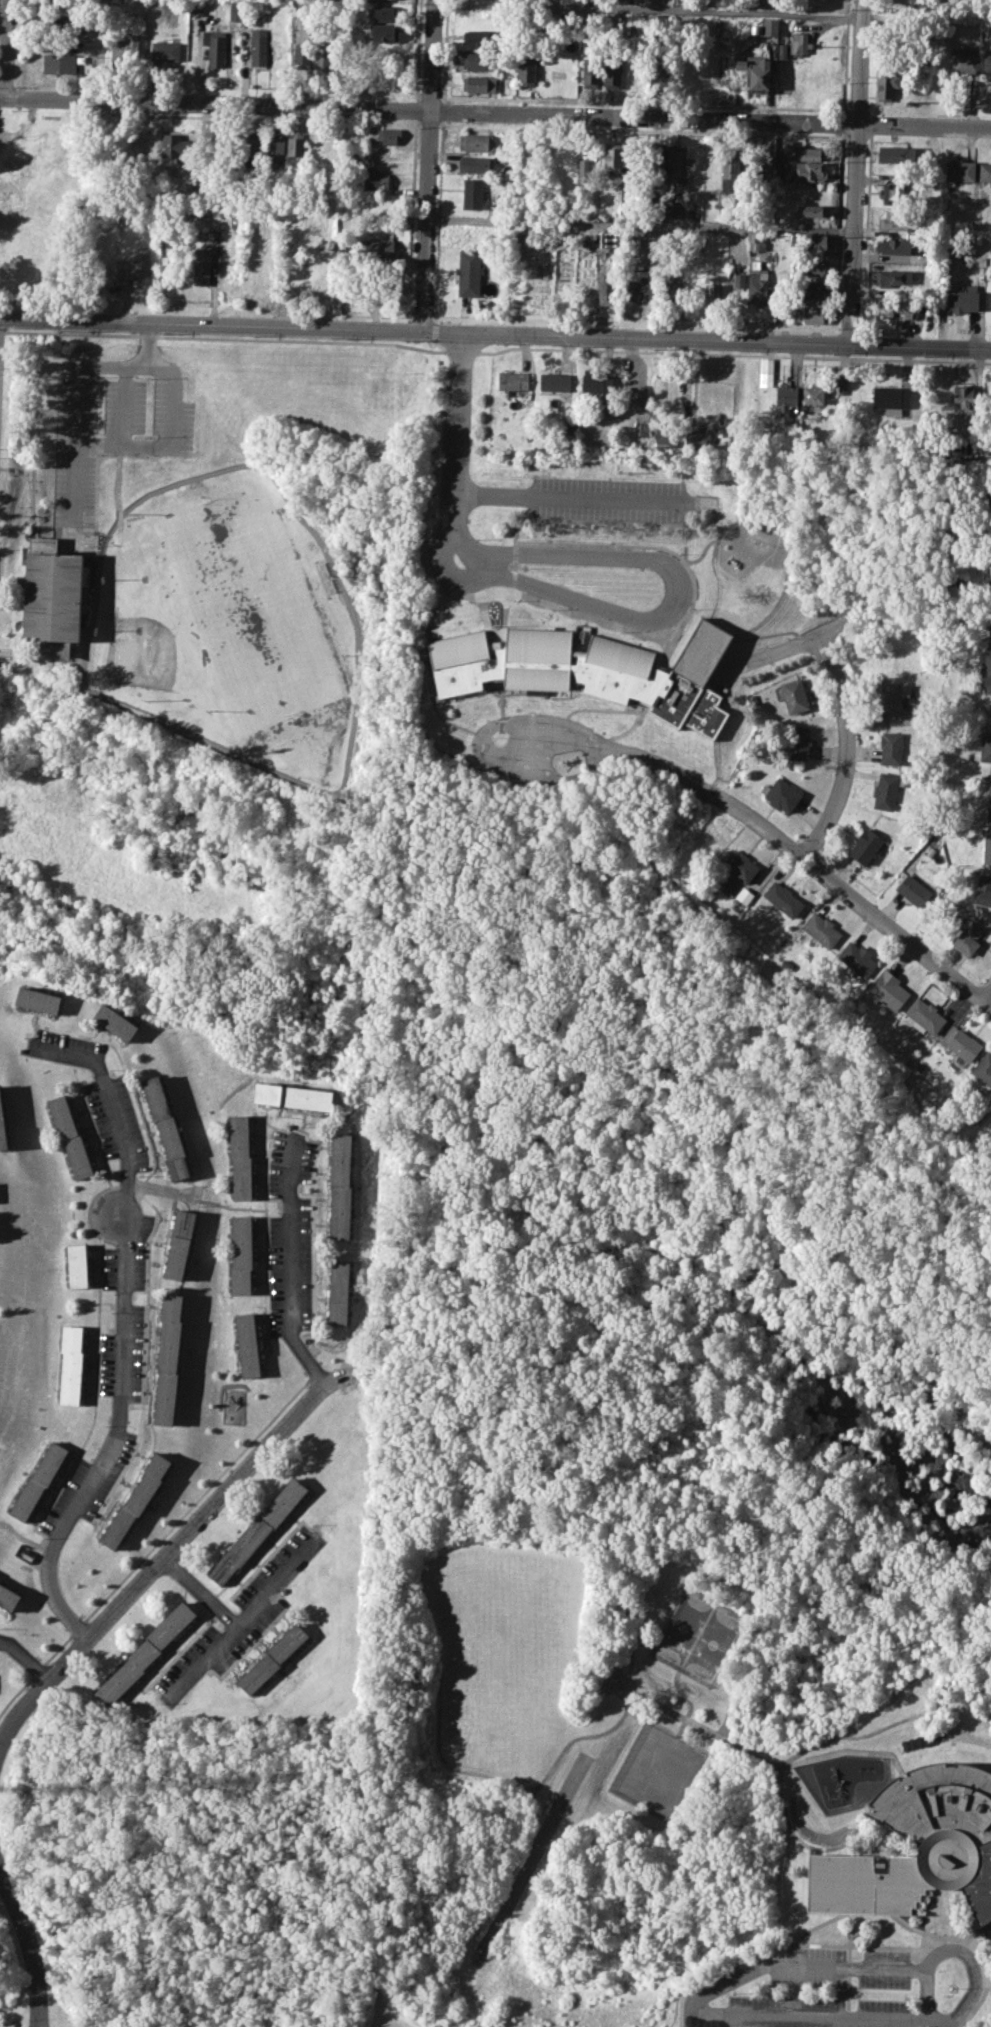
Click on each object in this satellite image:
building: (750, 3)
building: (198, 7)
road: (648, 7)
building: (236, 11)
building: (386, 13)
building: (61, 20)
building: (719, 24)
building: (770, 27)
building: (384, 32)
building: (480, 38)
building: (799, 44)
building: (217, 47)
road: (7, 48)
building: (126, 48)
building: (259, 48)
building: (165, 50)
building: (782, 50)
building: (324, 54)
building: (303, 55)
building: (481, 60)
building: (963, 60)
building: (58, 63)
building: (987, 63)
building: (593, 68)
building: (821, 69)
building: (757, 70)
building: (526, 71)
building: (657, 71)
building: (612, 76)
building: (481, 83)
building: (886, 88)
road: (495, 111)
building: (389, 134)
building: (211, 142)
building: (476, 142)
building: (296, 144)
building: (252, 146)
building: (275, 147)
building: (808, 152)
building: (614, 154)
building: (896, 154)
building: (362, 159)
building: (762, 162)
building: (474, 163)
building: (656, 163)
building: (680, 164)
building: (730, 164)
road: (428, 165)
building: (585, 168)
building: (960, 170)
building: (984, 170)
building: (810, 171)
road: (857, 172)
building: (377, 181)
building: (473, 193)
building: (893, 194)
building: (495, 209)
building: (672, 209)
building: (813, 209)
building: (593, 214)
building: (894, 219)
road: (641, 224)
building: (315, 229)
building: (471, 232)
building: (606, 239)
building: (758, 241)
building: (814, 243)
building: (894, 245)
building: (380, 246)
building: (202, 265)
building: (134, 266)
building: (813, 266)
building: (469, 272)
building: (893, 277)
building: (738, 280)
building: (646, 281)
building: (759, 283)
building: (607, 289)
building: (672, 289)
building: (812, 291)
building: (713, 294)
building: (962, 301)
building: (894, 307)
building: (815, 313)
road: (495, 332)
building: (765, 371)
building: (513, 380)
building: (595, 381)
building: (555, 382)
road: (79, 393)
building: (813, 394)
building: (787, 397)
building: (962, 398)
building: (892, 400)
road: (125, 405)
building: (608, 410)
parking lot: (112, 430)
road: (460, 433)
building: (663, 438)
building: (697, 438)
road: (168, 440)
road: (97, 474)
road: (117, 485)
road: (30, 490)
road: (576, 497)
parking lot: (609, 500)
road: (9, 524)
building: (988, 530)
road: (92, 543)
road: (470, 551)
road: (489, 564)
flagpole: (523, 568)
building: (986, 583)
building: (53, 592)
park: (219, 602)
building: (990, 602)
park: (245, 607)
road: (644, 618)
road: (838, 625)
road: (783, 648)
road: (825, 652)
park: (201, 660)
building: (589, 668)
building: (986, 668)
building: (794, 694)
building: (892, 696)
road: (355, 715)
building: (799, 742)
building: (891, 747)
building: (983, 749)
road: (658, 763)
road: (843, 768)
building: (989, 772)
building: (887, 790)
building: (781, 795)
building: (988, 803)
building: (867, 845)
building: (987, 847)
building: (740, 866)
building: (915, 887)
building: (983, 890)
building: (729, 891)
building: (744, 896)
road: (853, 897)
building: (782, 898)
building: (822, 929)
building: (967, 936)
building: (858, 958)
building: (890, 988)
road: (987, 993)
building: (39, 999)
building: (925, 1015)
building: (115, 1021)
building: (961, 1045)
building: (909, 1062)
building: (920, 1068)
building: (982, 1070)
building: (294, 1095)
road: (110, 1107)
building: (978, 1112)
building: (2, 1126)
building: (166, 1127)
building: (68, 1136)
building: (240, 1157)
building: (341, 1186)
building: (178, 1244)
building: (242, 1254)
building: (76, 1265)
road: (290, 1266)
building: (339, 1292)
building: (248, 1345)
building: (168, 1358)
building: (71, 1364)
road: (113, 1441)
building: (39, 1480)
building: (137, 1499)
road: (207, 1514)
building: (257, 1532)
road: (659, 1558)
road: (200, 1593)
building: (8, 1597)
road: (242, 1617)
building: (145, 1651)
road: (25, 1658)
building: (272, 1658)
road: (39, 1690)
road: (689, 1703)
road: (883, 1730)
road: (846, 1750)
road: (767, 1760)
road: (479, 1772)
building: (954, 1849)
road: (898, 1919)
road: (981, 1933)
road: (967, 1937)
road: (887, 1947)
road: (26, 1948)
road: (952, 1949)
road: (748, 1963)
road: (847, 1965)
parking lot: (807, 1991)
road: (695, 2003)
road: (977, 2003)
street lamp: (27, 2019)

